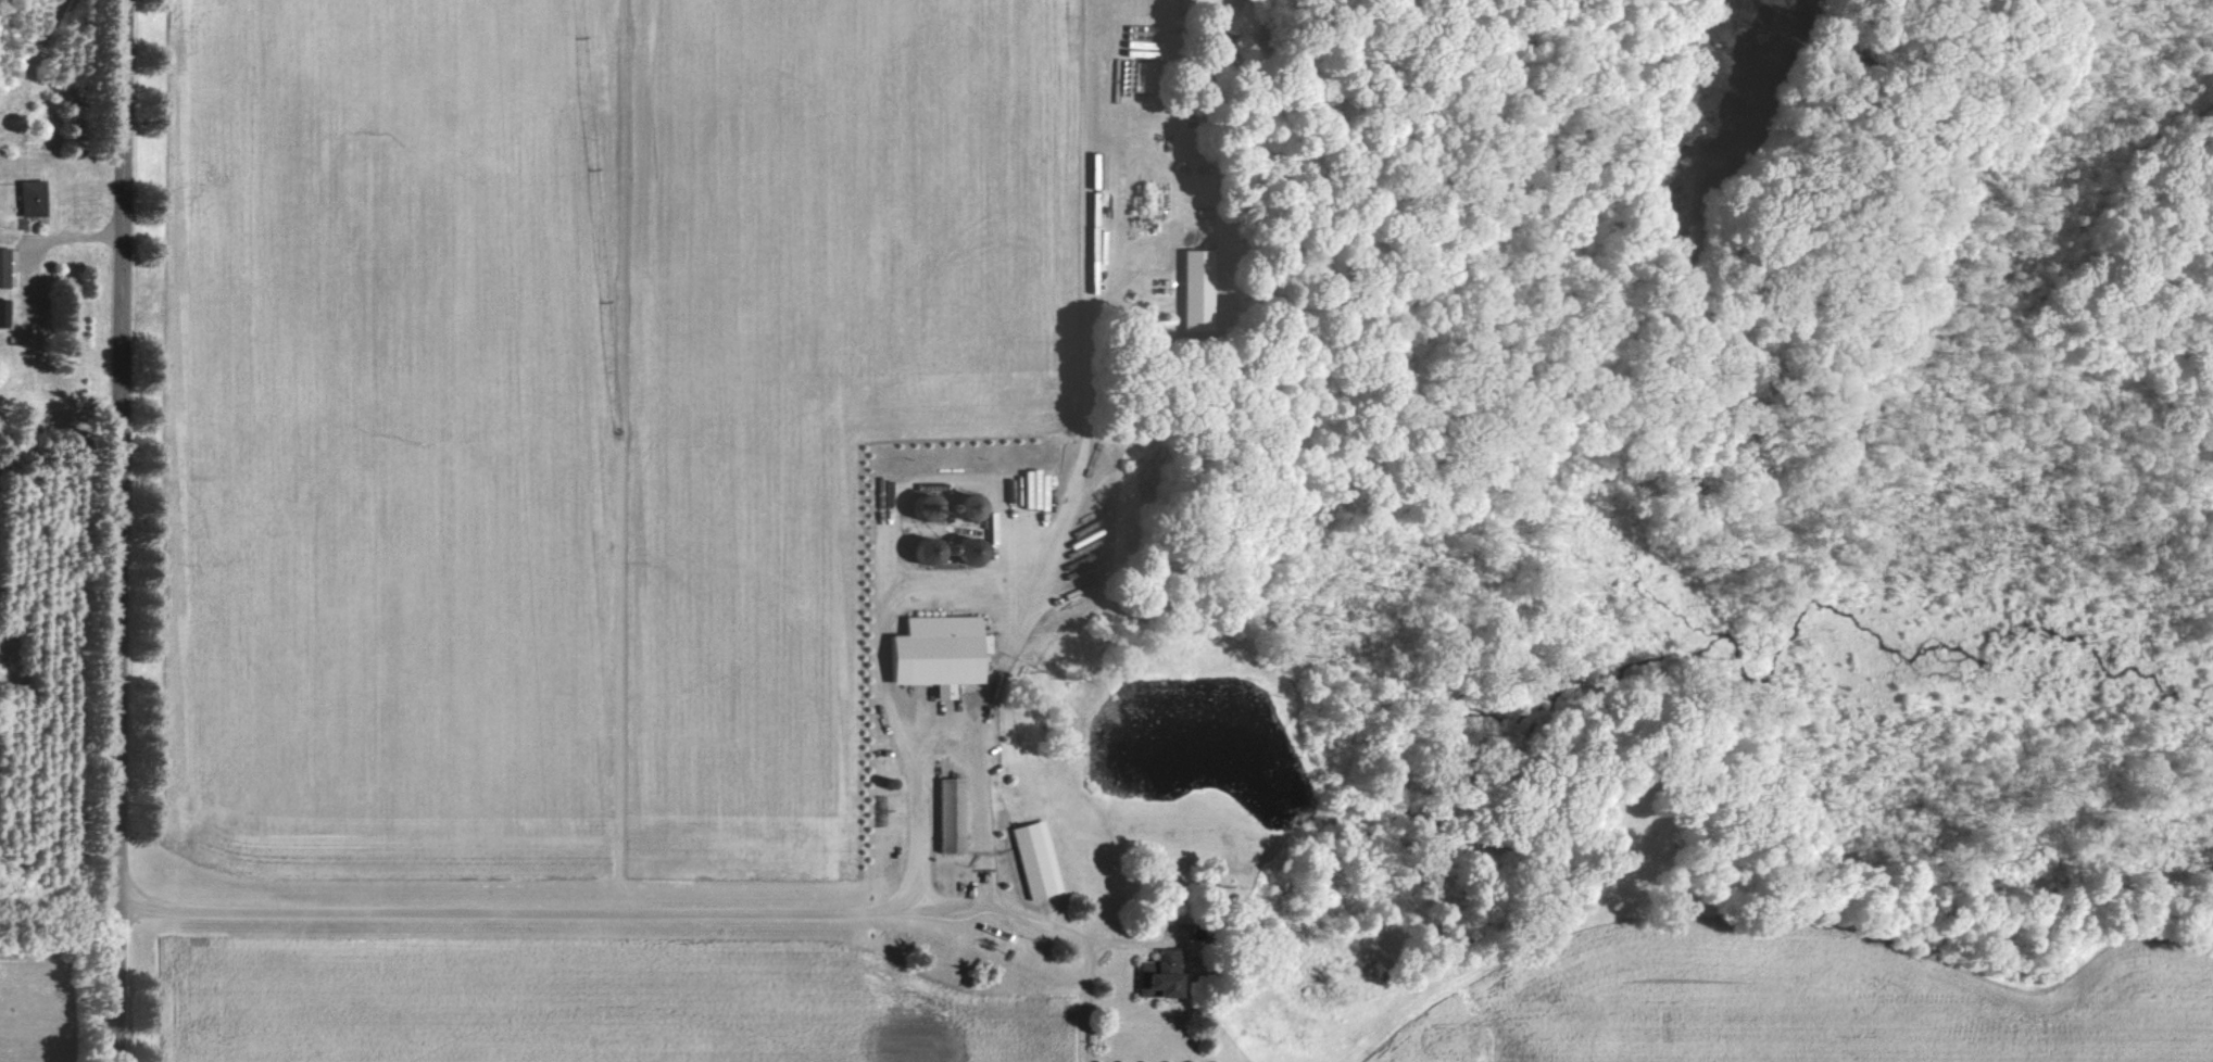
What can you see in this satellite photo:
building: (32, 198)
road: (61, 238)
building: (4, 267)
building: (1194, 289)
building: (4, 313)
road: (114, 531)
building: (935, 545)
road: (946, 748)
building: (947, 816)
building: (1034, 860)
road: (601, 906)
building: (1157, 975)

